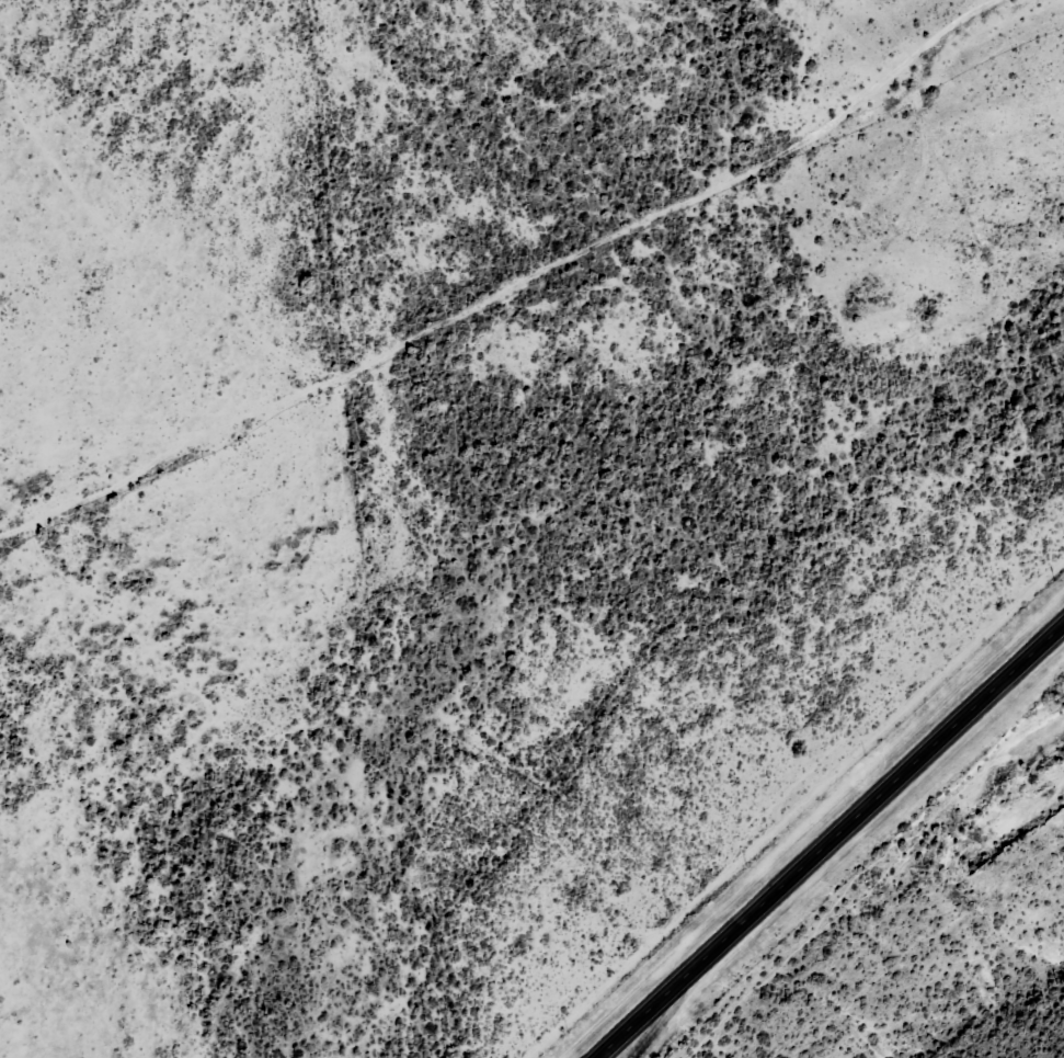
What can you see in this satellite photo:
road: (839, 846)

